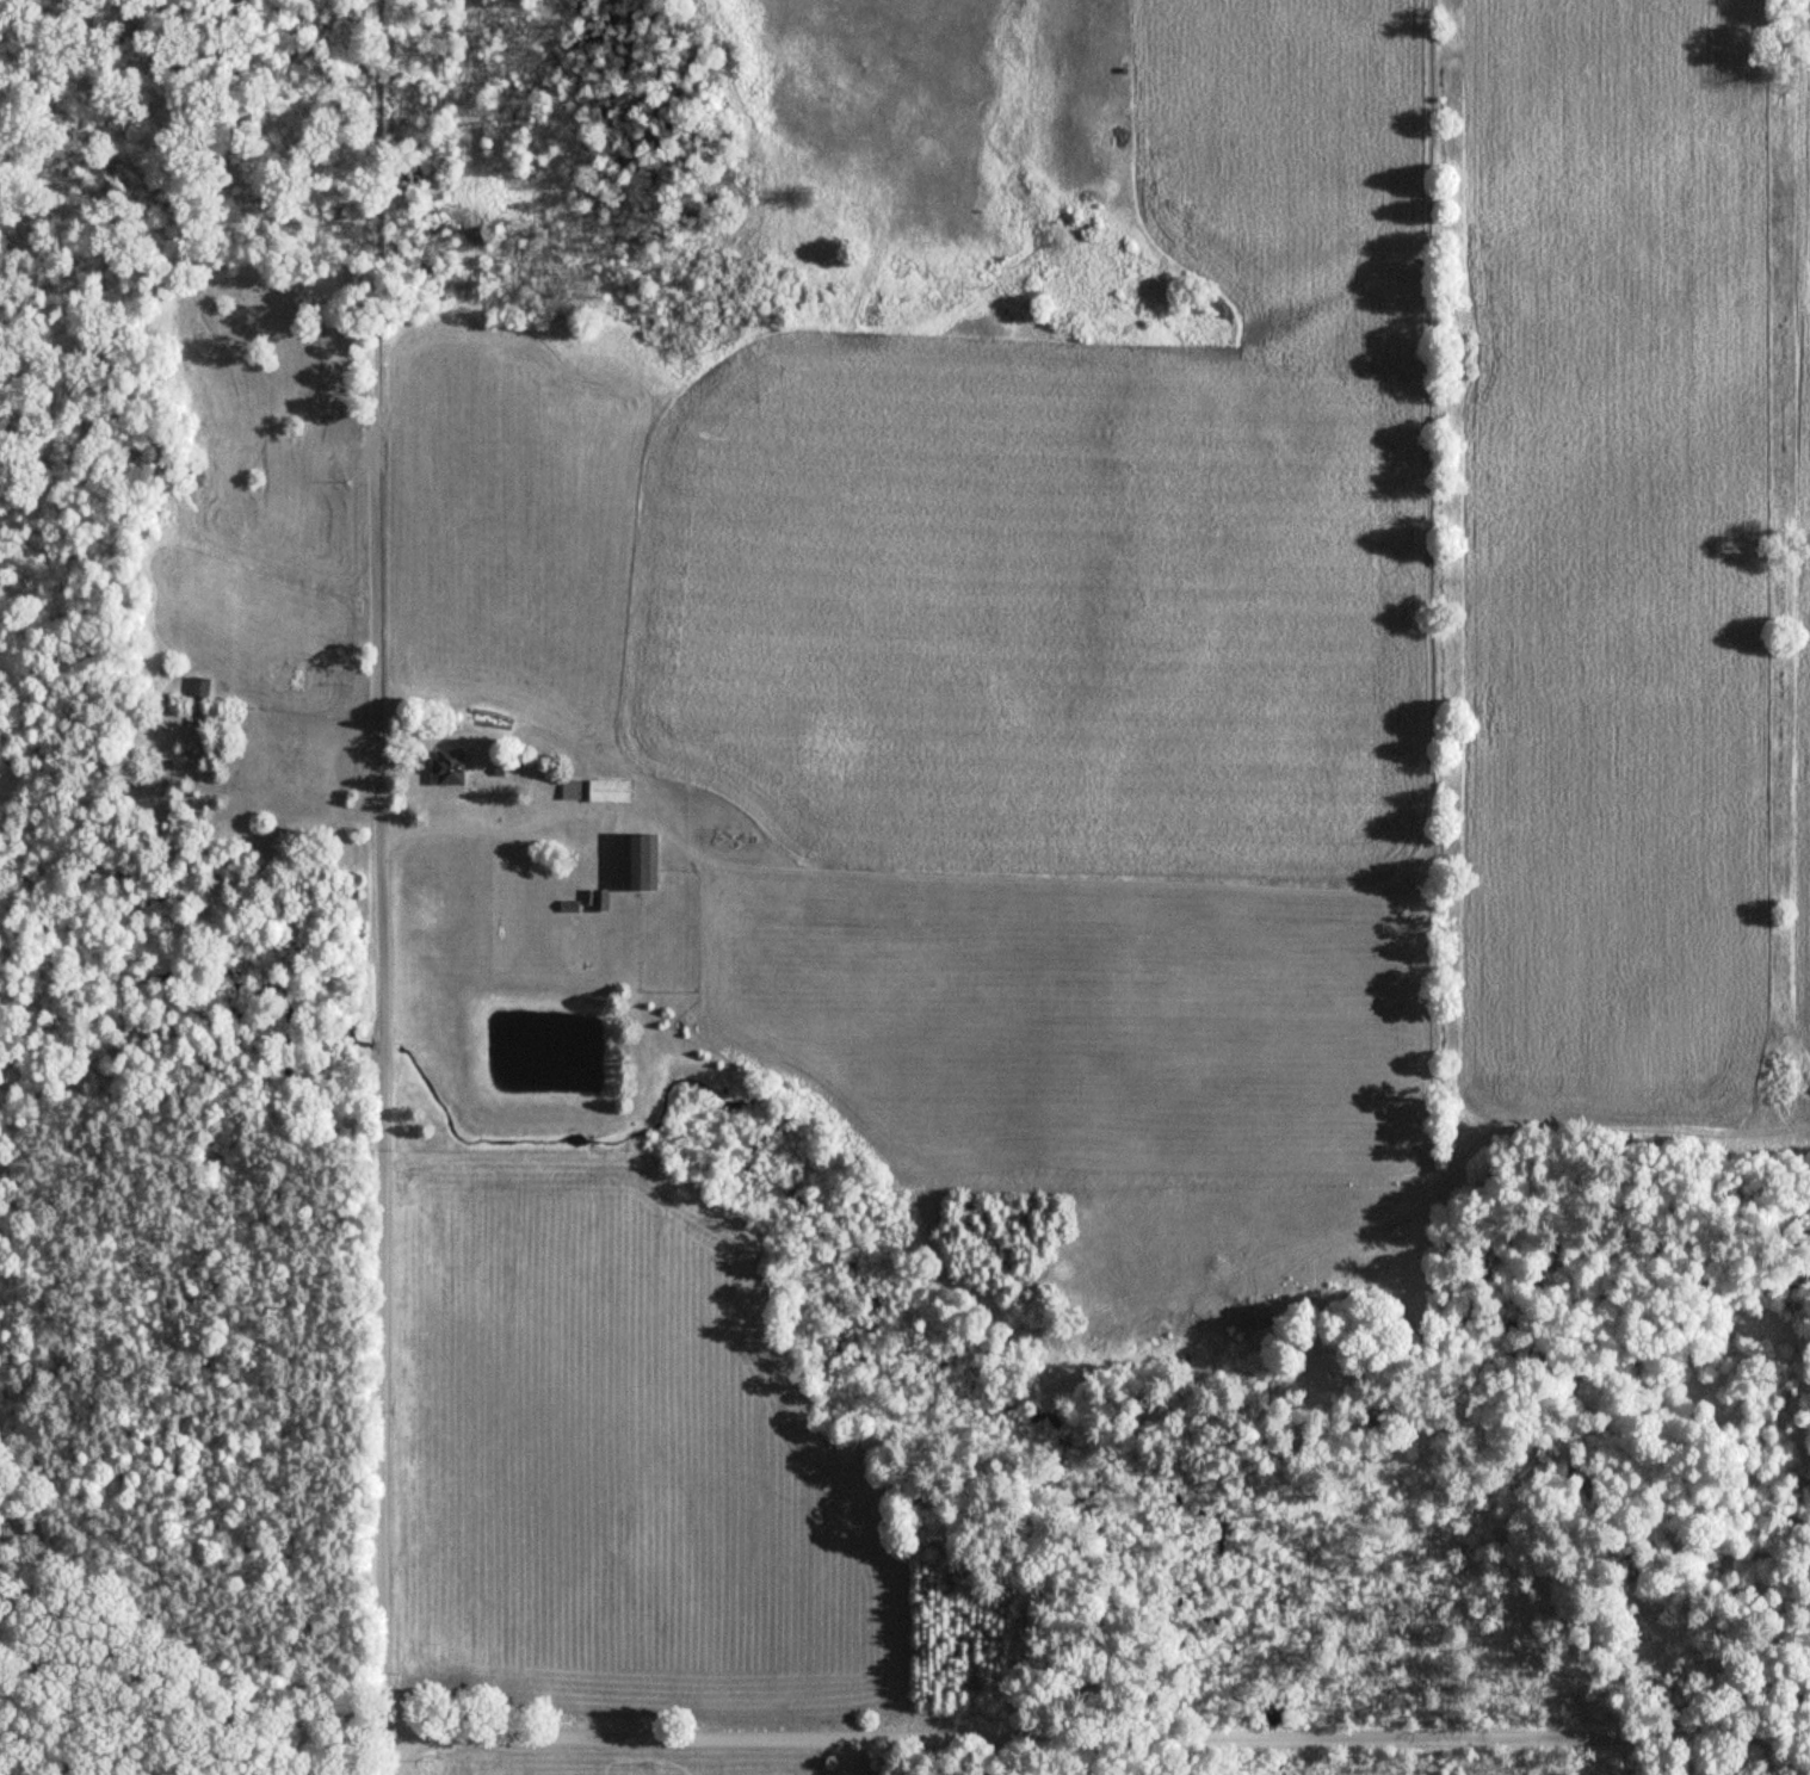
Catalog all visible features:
road: (376, 214)
building: (198, 688)
building: (449, 768)
building: (610, 791)
building: (642, 862)
building: (599, 901)
road: (385, 1101)
road: (1096, 1736)
road: (841, 1755)

